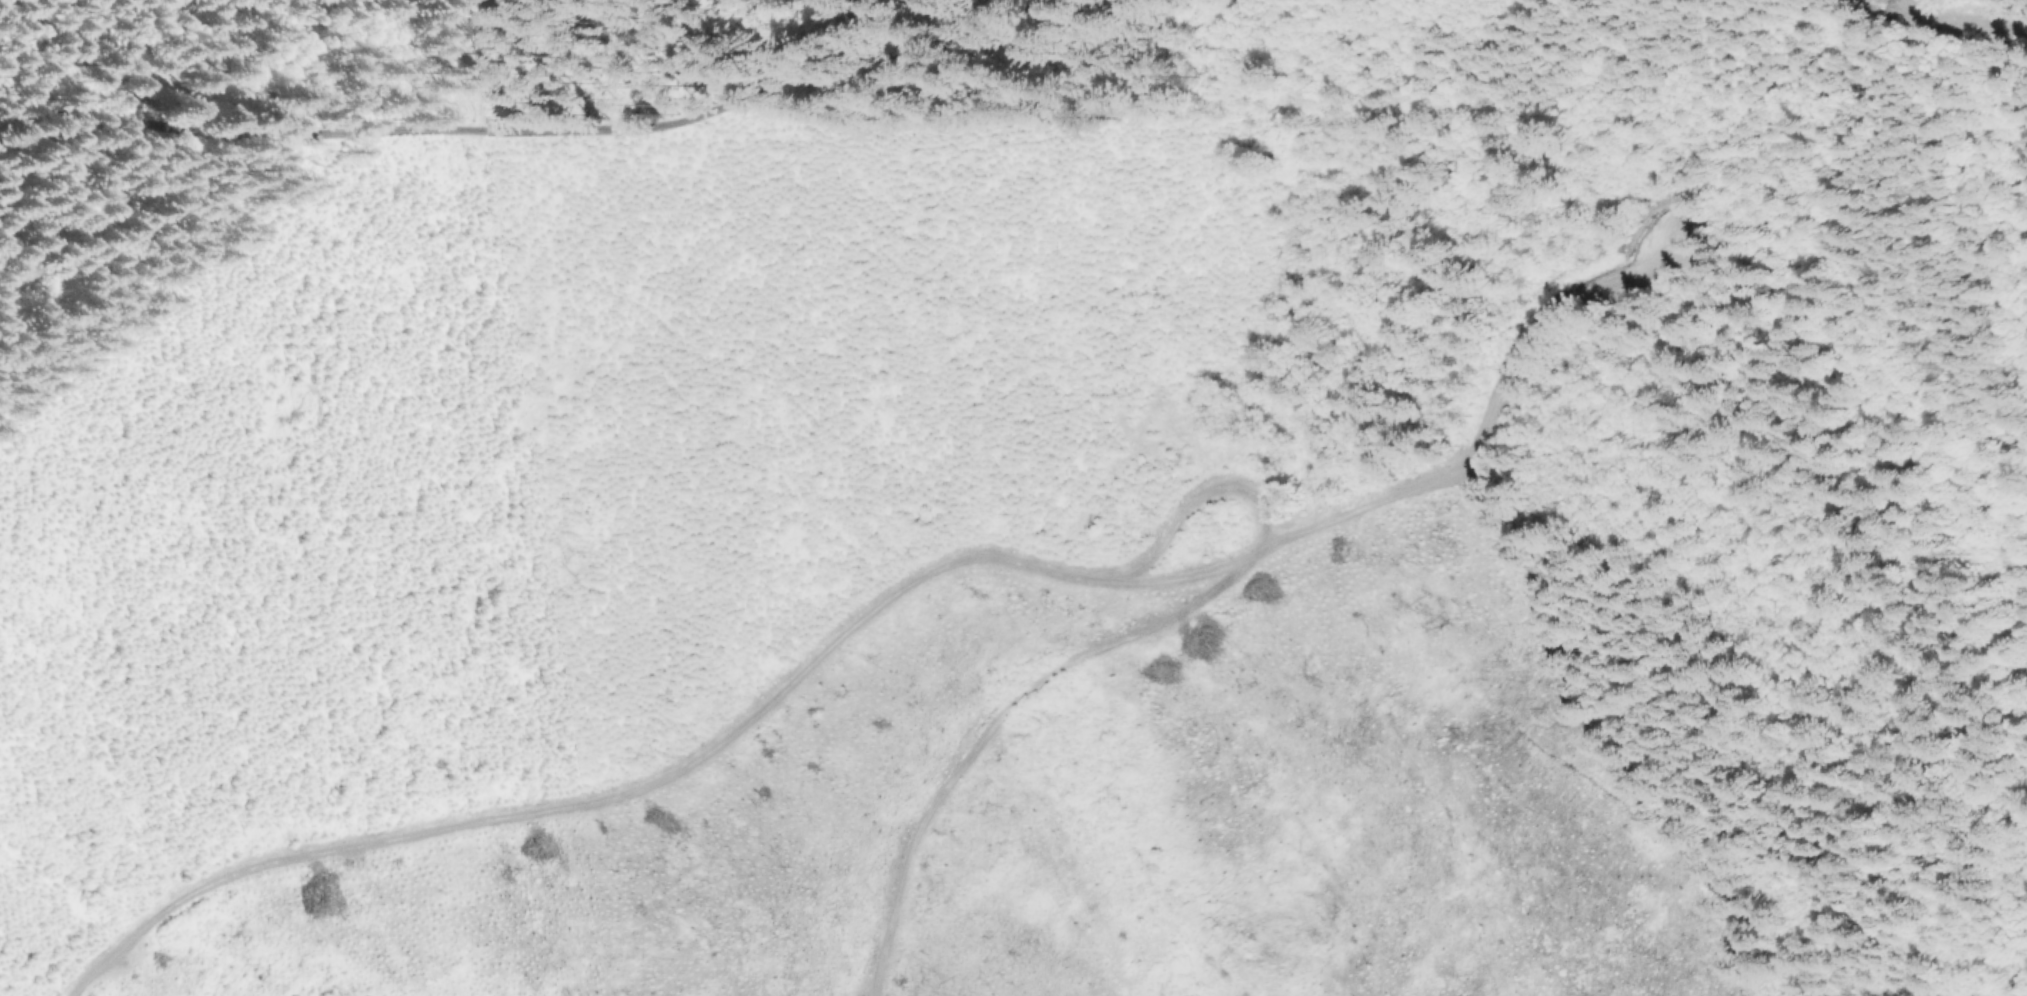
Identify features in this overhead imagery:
road: (1981, 12)
road: (521, 126)
road: (1200, 495)
road: (878, 607)
road: (990, 735)

